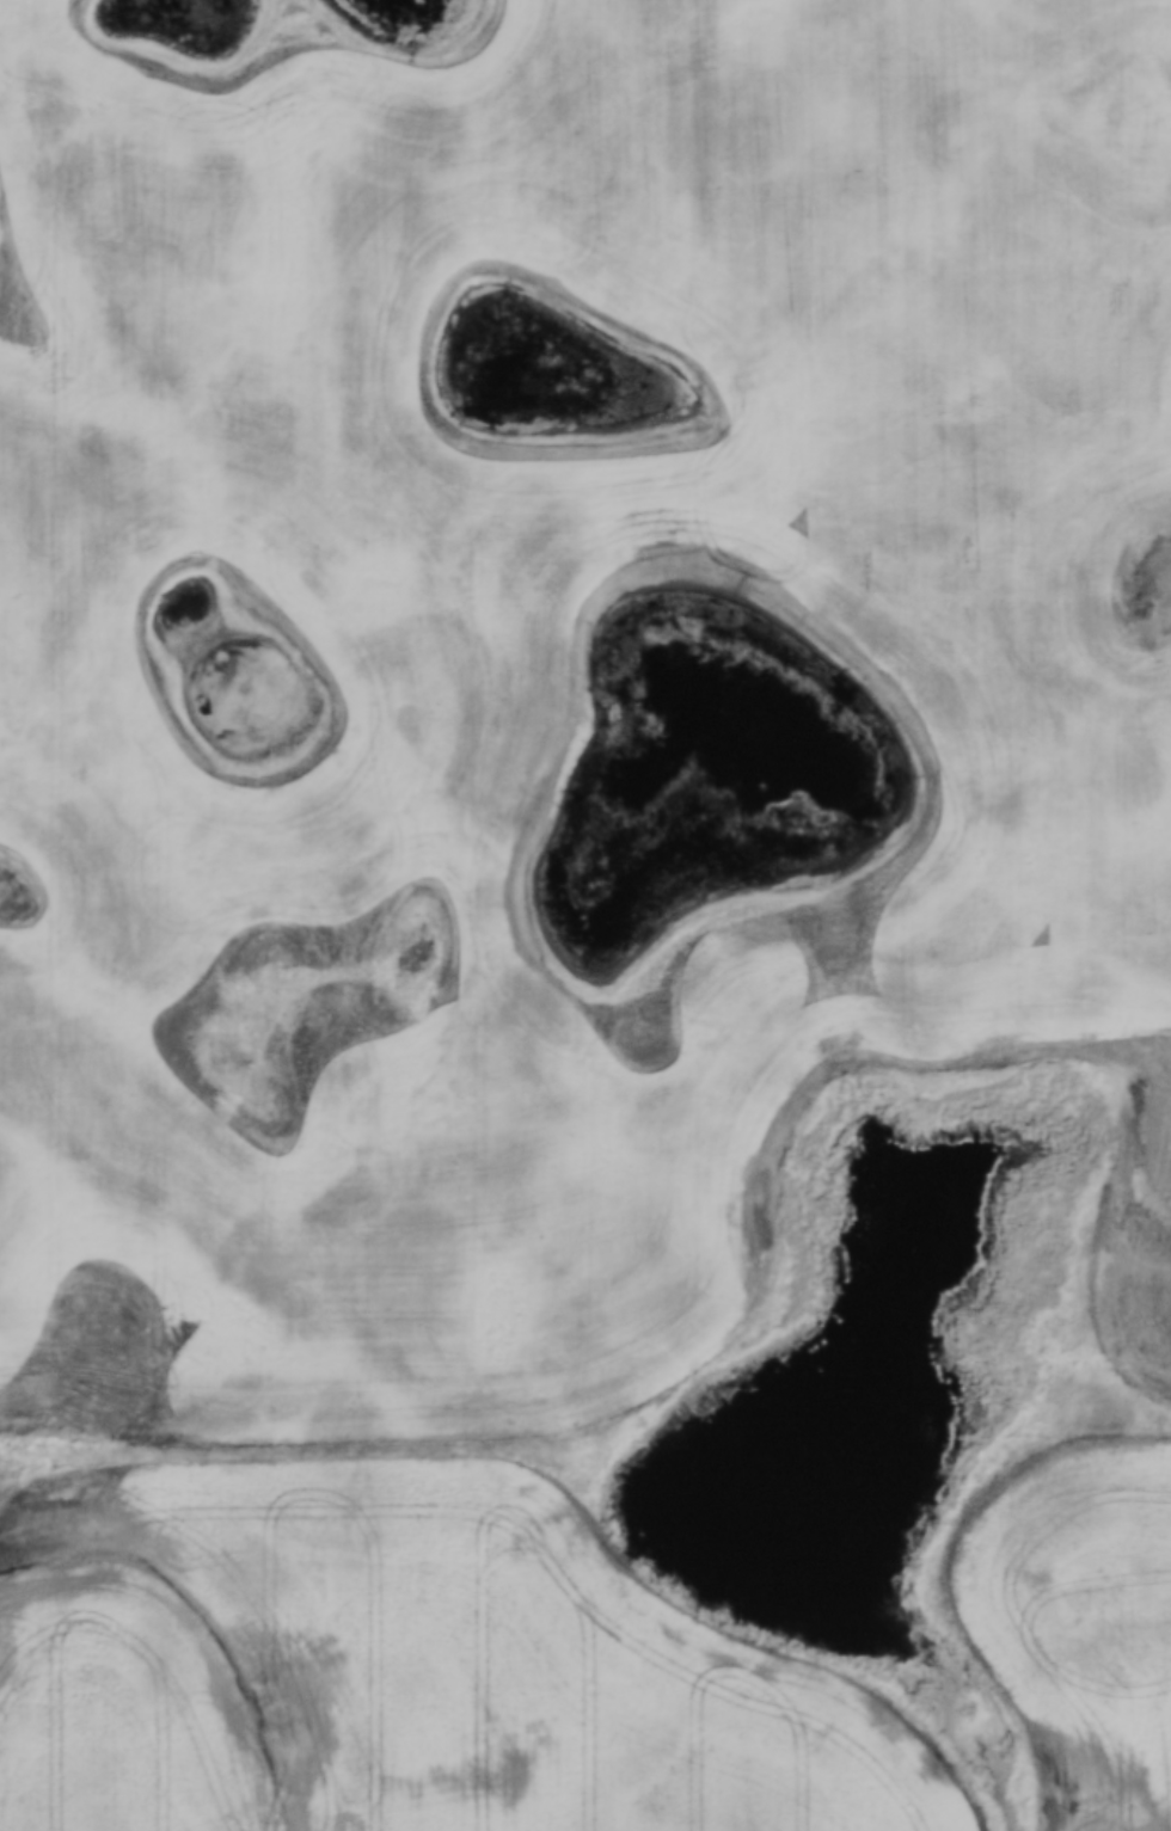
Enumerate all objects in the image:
road: (325, 1433)

